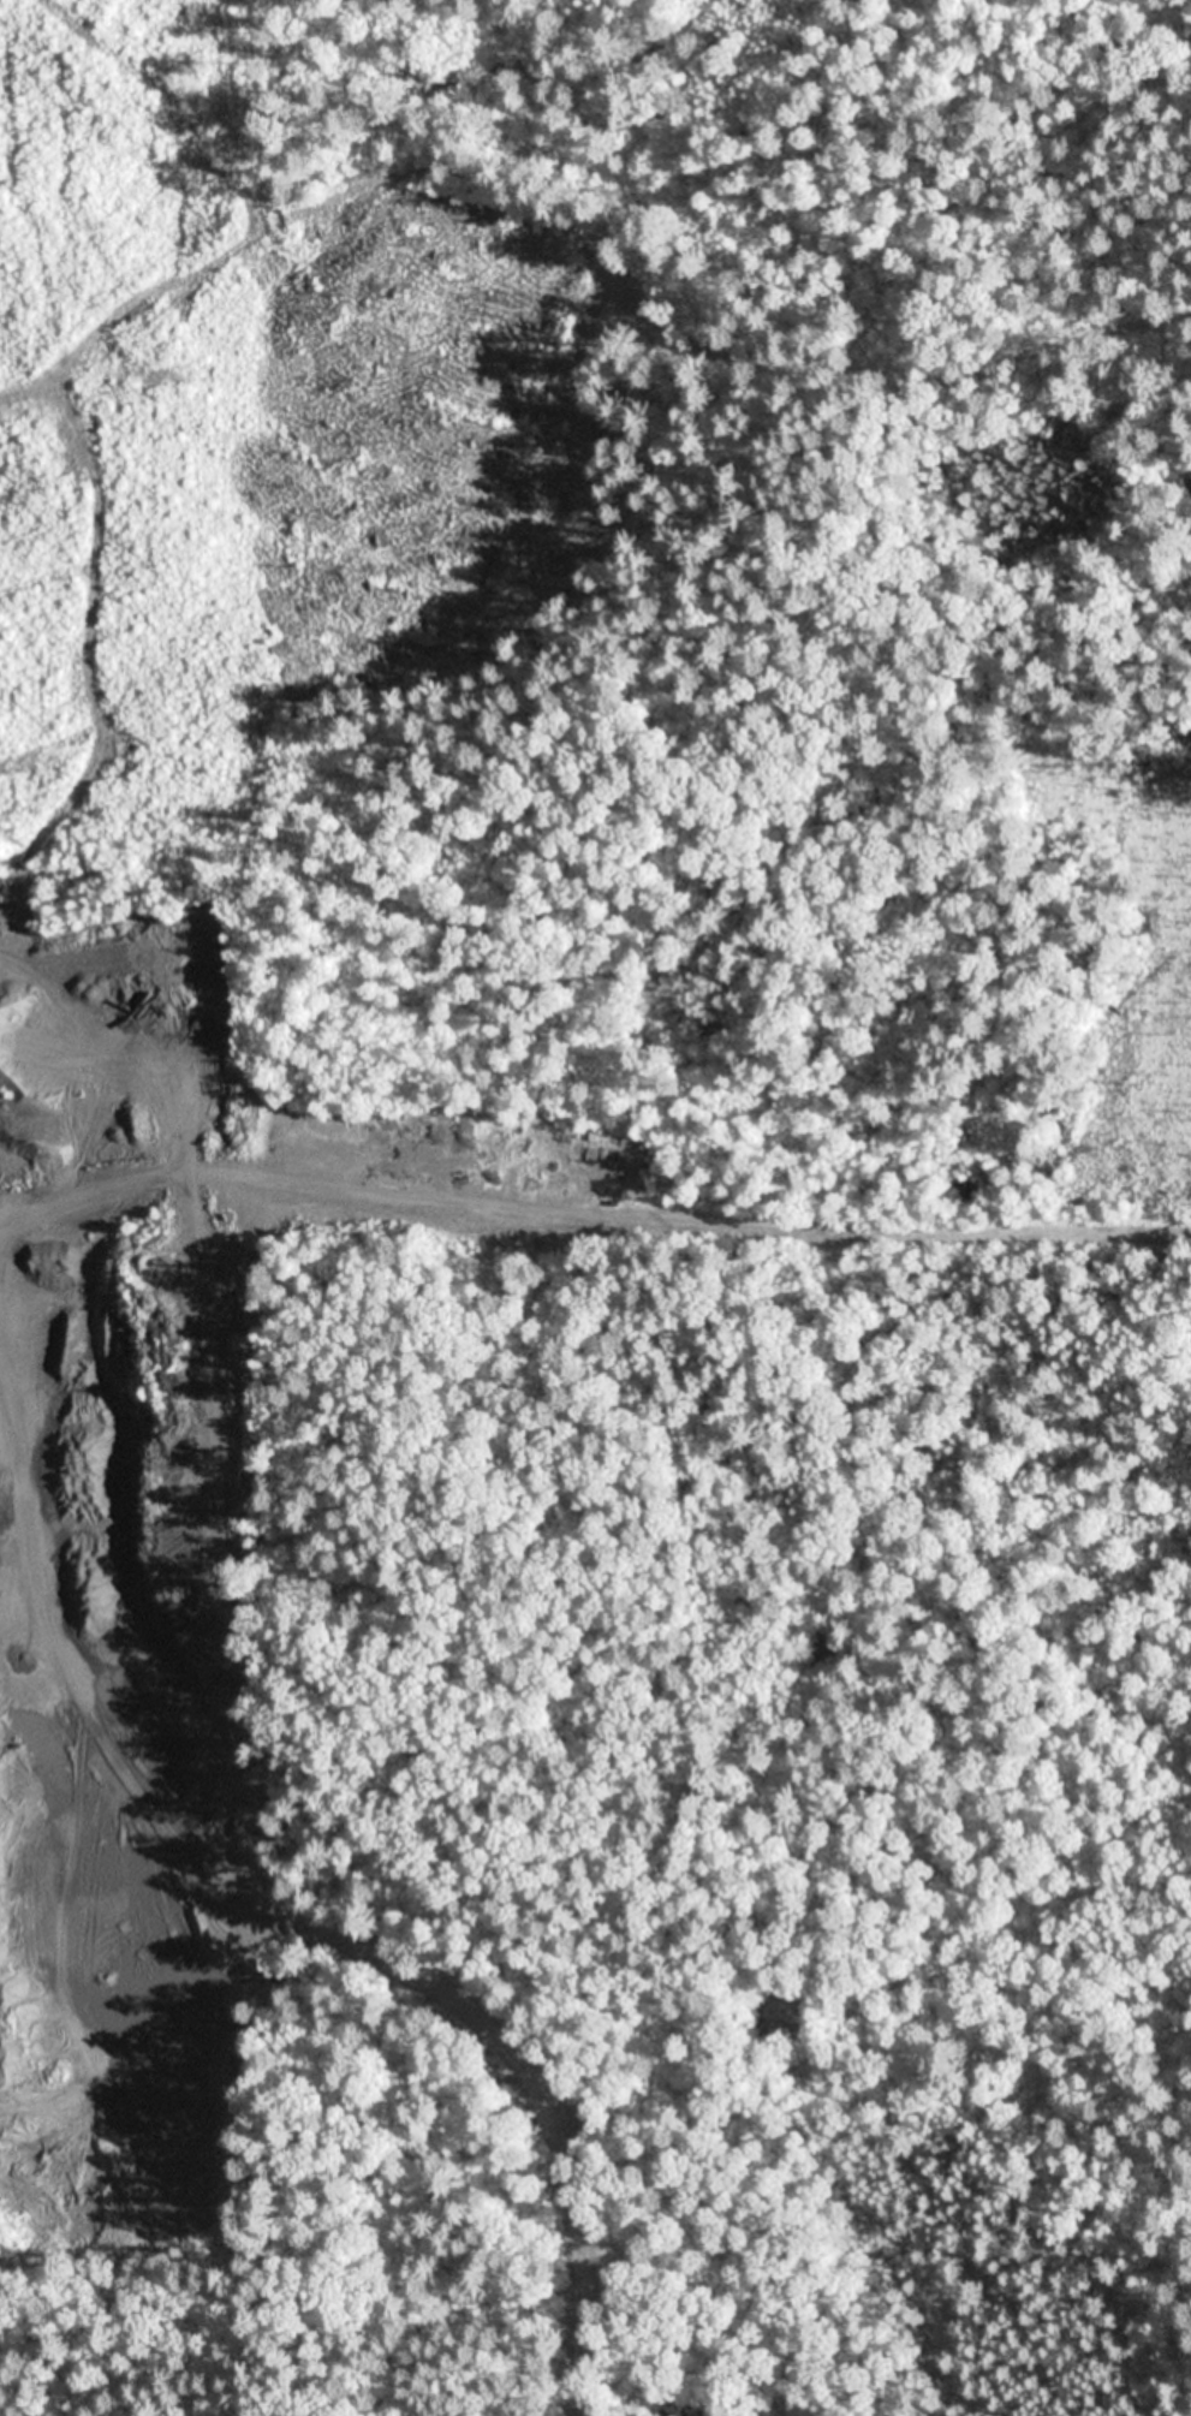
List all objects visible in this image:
road: (591, 1220)
road: (300, 1914)

